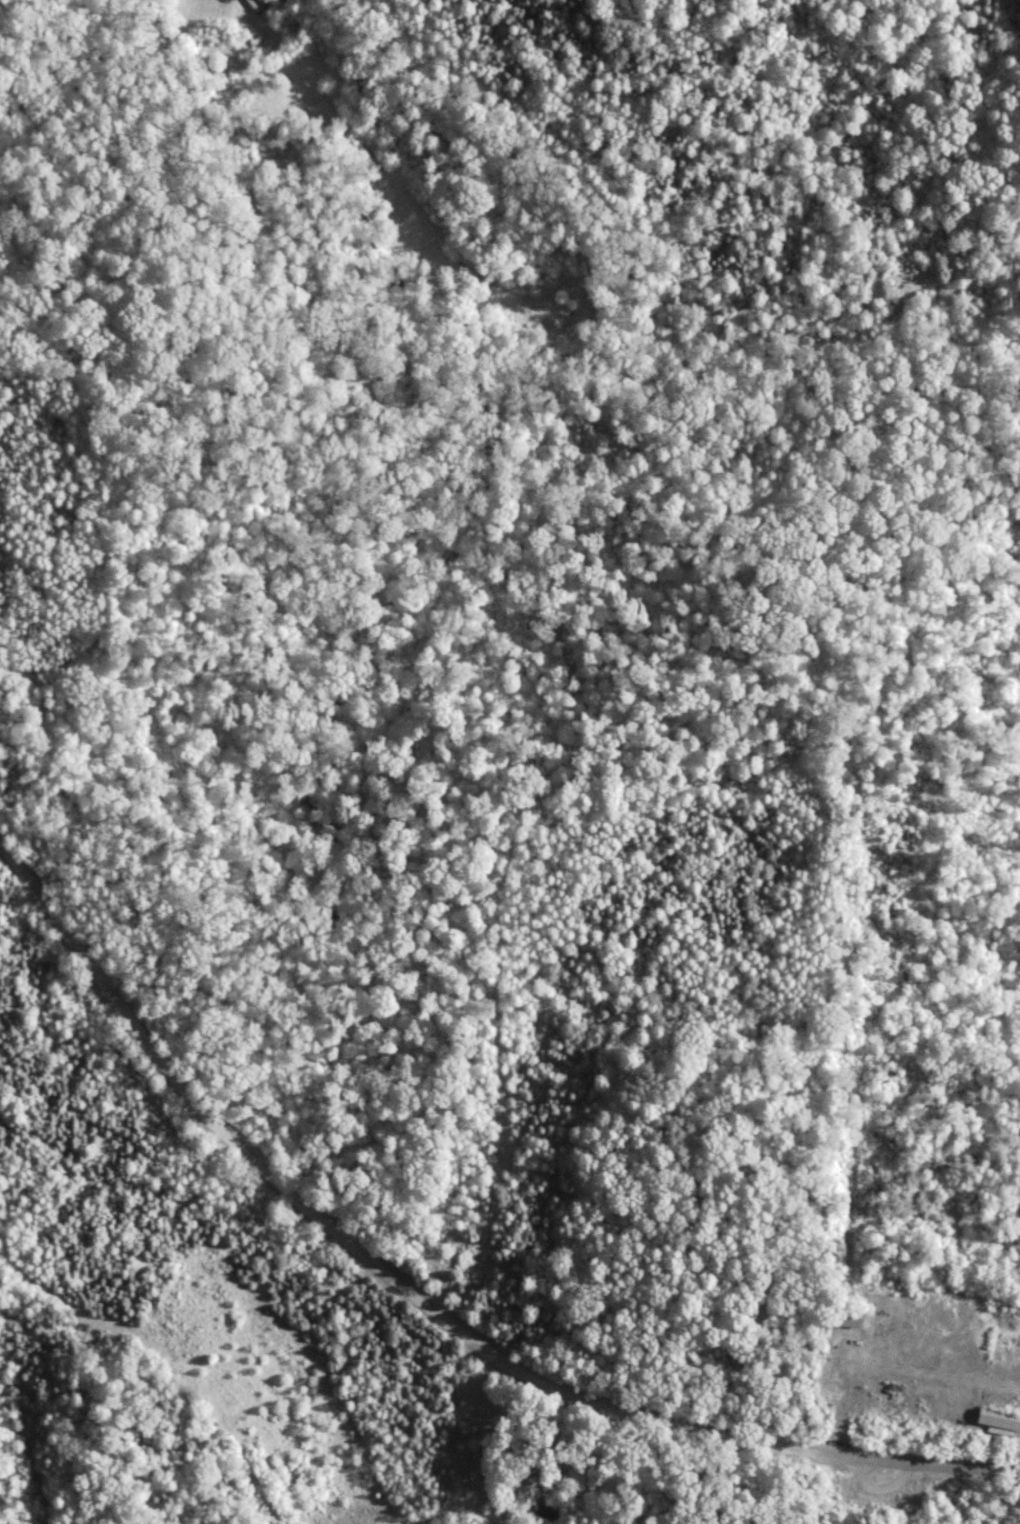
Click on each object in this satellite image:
road: (45, 904)
road: (408, 1287)
building: (993, 1416)
road: (918, 1461)
building: (909, 1495)

